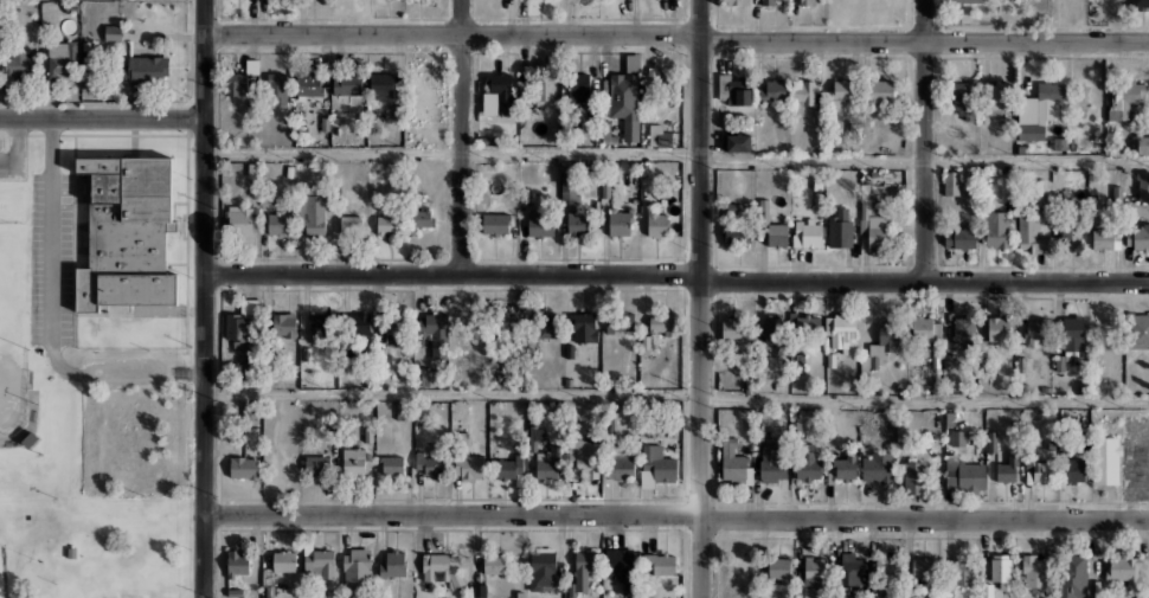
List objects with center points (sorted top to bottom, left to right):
building: (738, 1)
building: (808, 1)
building: (965, 1)
building: (768, 2)
building: (1137, 5)
building: (71, 7)
road: (358, 17)
building: (113, 32)
road: (676, 33)
building: (64, 60)
building: (20, 64)
building: (252, 65)
building: (146, 69)
building: (660, 82)
building: (236, 84)
building: (347, 84)
building: (381, 84)
building: (308, 85)
building: (278, 86)
building: (577, 86)
building: (733, 89)
building: (771, 90)
building: (543, 91)
building: (802, 91)
building: (881, 91)
building: (498, 95)
building: (841, 95)
building: (997, 95)
building: (625, 97)
building: (963, 98)
building: (1124, 98)
building: (1039, 109)
building: (397, 114)
building: (526, 115)
building: (819, 116)
road: (101, 121)
building: (325, 123)
building: (853, 129)
building: (336, 130)
building: (608, 134)
building: (659, 136)
road: (461, 139)
building: (486, 140)
road: (925, 140)
building: (737, 142)
building: (1059, 143)
building: (1142, 144)
road: (15, 149)
building: (1021, 149)
building: (1117, 150)
road: (676, 152)
parking lot: (11, 160)
building: (490, 167)
building: (657, 168)
building: (252, 169)
building: (566, 171)
building: (610, 173)
building: (874, 173)
building: (817, 182)
building: (951, 184)
building: (1142, 185)
building: (569, 189)
building: (605, 189)
building: (984, 189)
building: (1040, 192)
building: (1129, 193)
building: (422, 195)
building: (524, 195)
building: (1057, 197)
building: (1117, 197)
building: (885, 199)
building: (596, 204)
building: (730, 206)
building: (313, 211)
building: (763, 211)
building: (1138, 213)
building: (387, 218)
building: (417, 218)
building: (242, 220)
building: (577, 220)
building: (872, 221)
building: (349, 223)
building: (496, 223)
building: (620, 223)
building: (657, 223)
building: (278, 224)
building: (540, 224)
building: (840, 229)
building: (996, 229)
building: (127, 232)
building: (807, 233)
building: (777, 234)
building: (1029, 234)
building: (734, 236)
building: (1070, 236)
building: (961, 237)
building: (1138, 238)
building: (1106, 239)
road: (675, 274)
road: (203, 298)
road: (699, 298)
road: (50, 316)
building: (620, 321)
building: (338, 323)
building: (507, 323)
building: (663, 323)
building: (804, 323)
building: (284, 324)
building: (552, 326)
park: (12, 327)
building: (393, 327)
building: (585, 327)
building: (733, 328)
building: (999, 328)
building: (240, 330)
building: (925, 330)
building: (1137, 330)
building: (1036, 332)
building: (775, 333)
building: (841, 333)
building: (1072, 333)
building: (434, 334)
building: (962, 341)
building: (646, 342)
building: (881, 346)
building: (570, 351)
building: (271, 356)
building: (306, 356)
building: (380, 358)
building: (830, 359)
building: (935, 360)
building: (797, 361)
building: (946, 364)
building: (1028, 364)
building: (1059, 364)
building: (986, 365)
building: (760, 374)
building: (428, 375)
building: (569, 382)
building: (777, 385)
building: (749, 386)
building: (899, 386)
building: (1083, 387)
building: (1044, 388)
road: (675, 392)
building: (404, 411)
building: (949, 418)
building: (796, 430)
building: (759, 432)
building: (368, 436)
building: (957, 437)
building: (30, 439)
building: (253, 439)
building: (993, 442)
building: (1066, 442)
building: (1051, 445)
building: (808, 446)
park: (82, 455)
parking lot: (1135, 455)
building: (466, 456)
building: (588, 458)
building: (1105, 459)
building: (353, 461)
building: (734, 462)
building: (430, 463)
building: (618, 463)
building: (392, 464)
building: (550, 464)
building: (772, 464)
building: (317, 465)
building: (655, 465)
building: (808, 465)
building: (878, 465)
building: (243, 467)
building: (507, 467)
building: (1008, 467)
building: (843, 468)
building: (1040, 468)
building: (1071, 469)
building: (963, 474)
building: (913, 476)
road: (675, 514)
building: (70, 552)
building: (284, 561)
building: (237, 562)
building: (320, 562)
building: (495, 562)
building: (392, 564)
building: (657, 564)
building: (358, 566)
building: (815, 566)
building: (887, 566)
building: (924, 566)
building: (584, 567)
building: (622, 567)
building: (442, 568)
building: (541, 568)
building: (779, 568)
building: (850, 568)
building: (1000, 570)
building: (1031, 570)
building: (963, 571)
building: (1124, 571)
building: (1067, 576)
building: (480, 590)
building: (798, 590)
building: (270, 591)
building: (668, 591)
building: (986, 591)
building: (235, 592)
building: (330, 593)
building: (521, 594)
parking lot: (127, 597)

